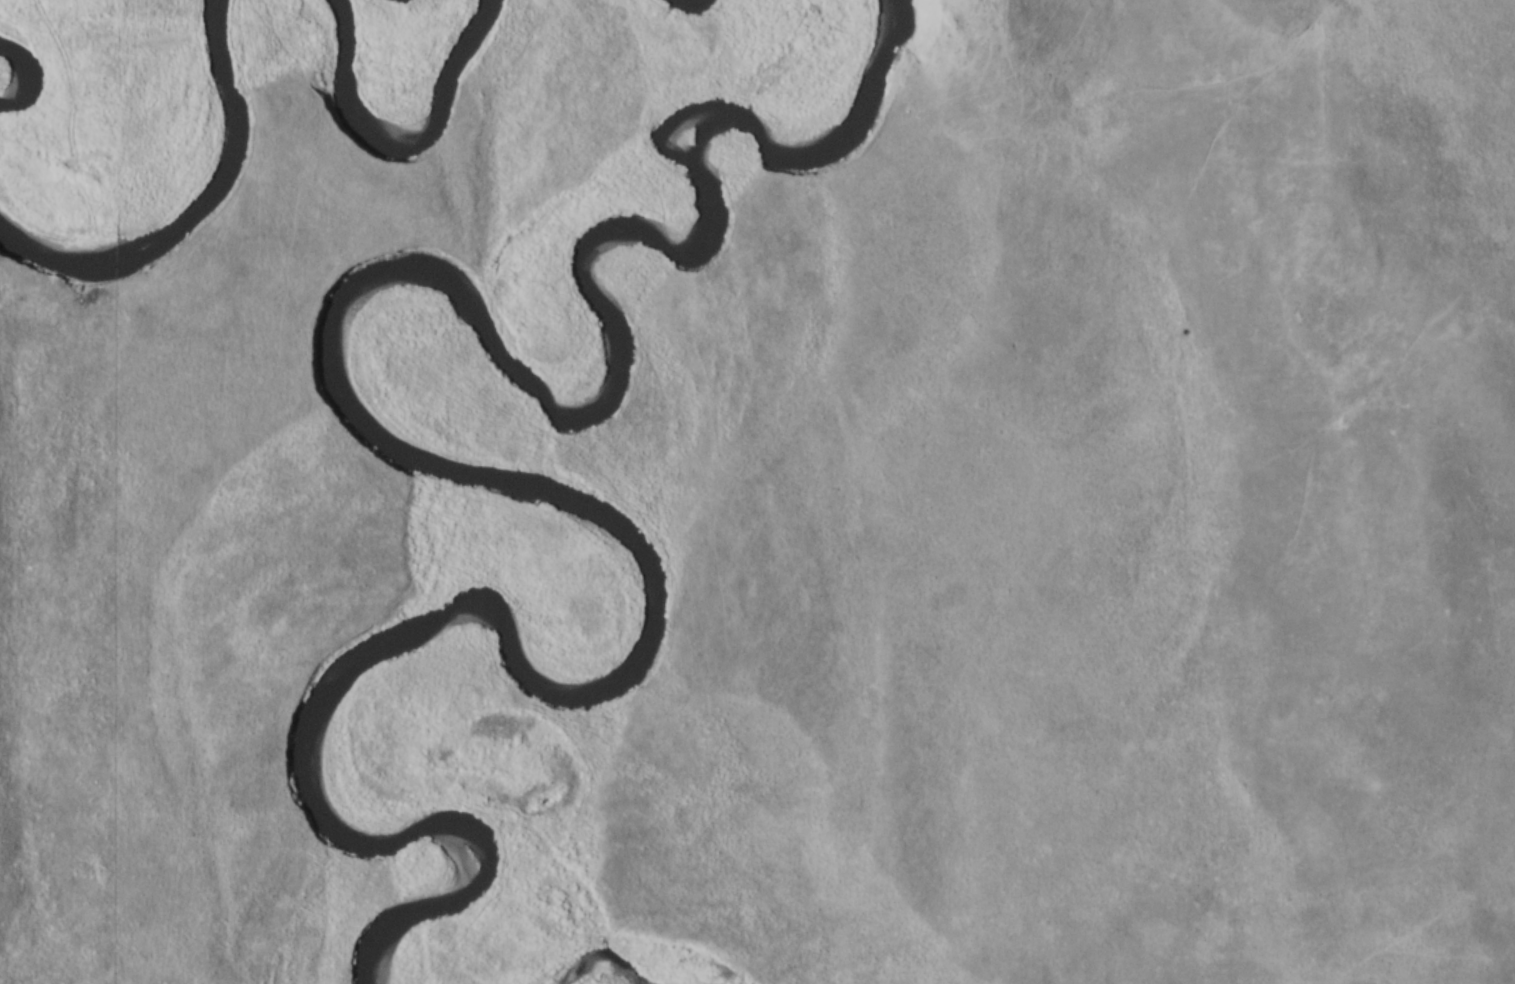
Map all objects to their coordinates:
river: (668, 2)
river: (9, 44)
river: (389, 124)
river: (196, 208)
river: (401, 430)

